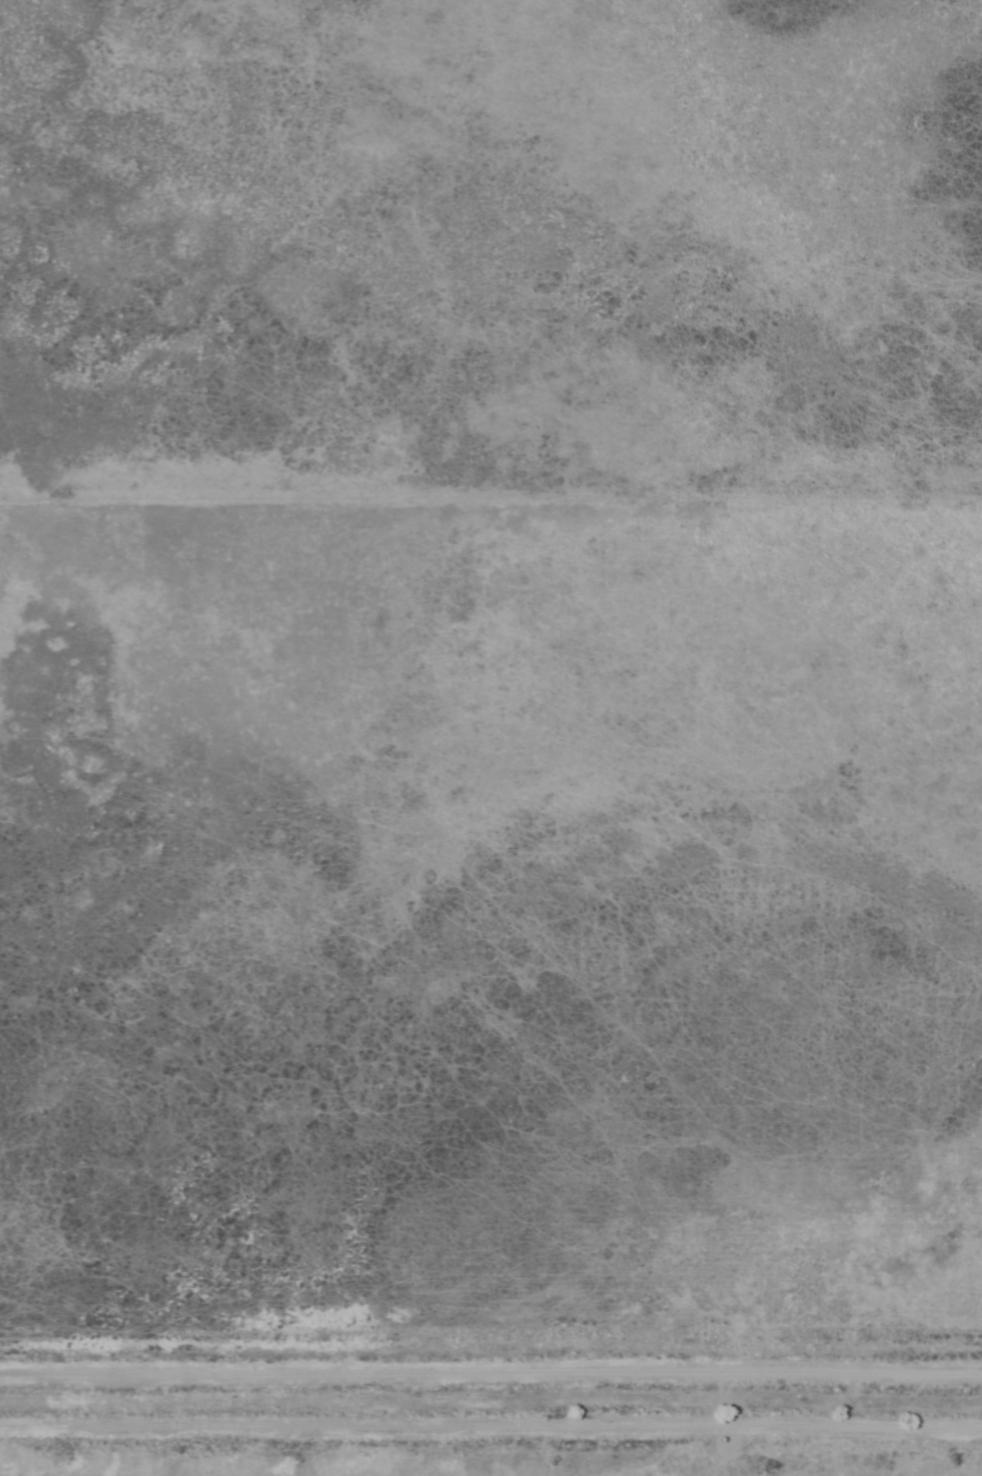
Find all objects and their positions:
crop: (491, 738)
road: (491, 1441)

